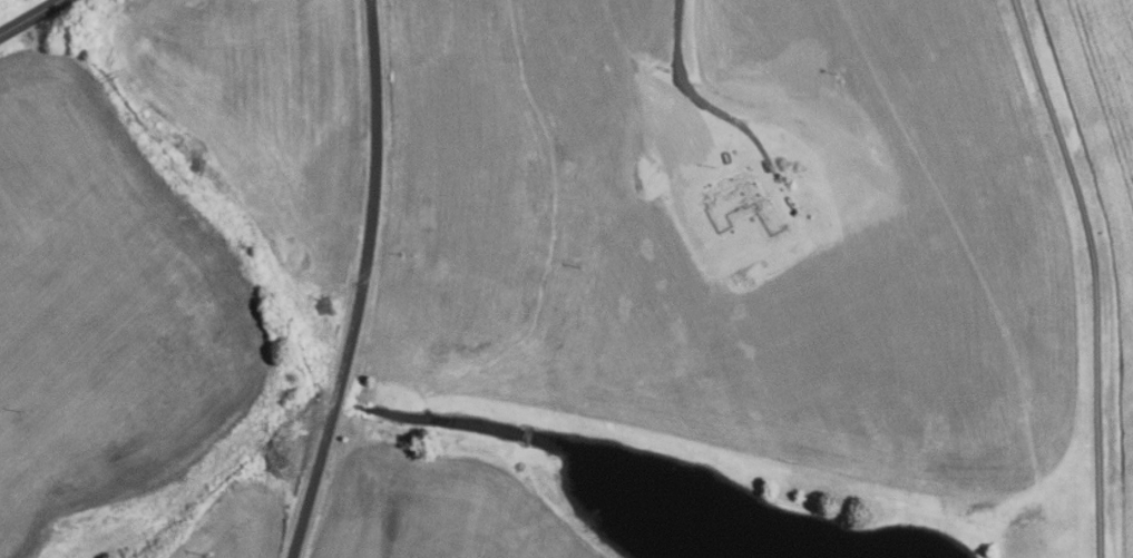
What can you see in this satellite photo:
road: (32, 18)
road: (655, 31)
road: (731, 155)
building: (745, 203)
road: (1094, 273)
road: (364, 283)

